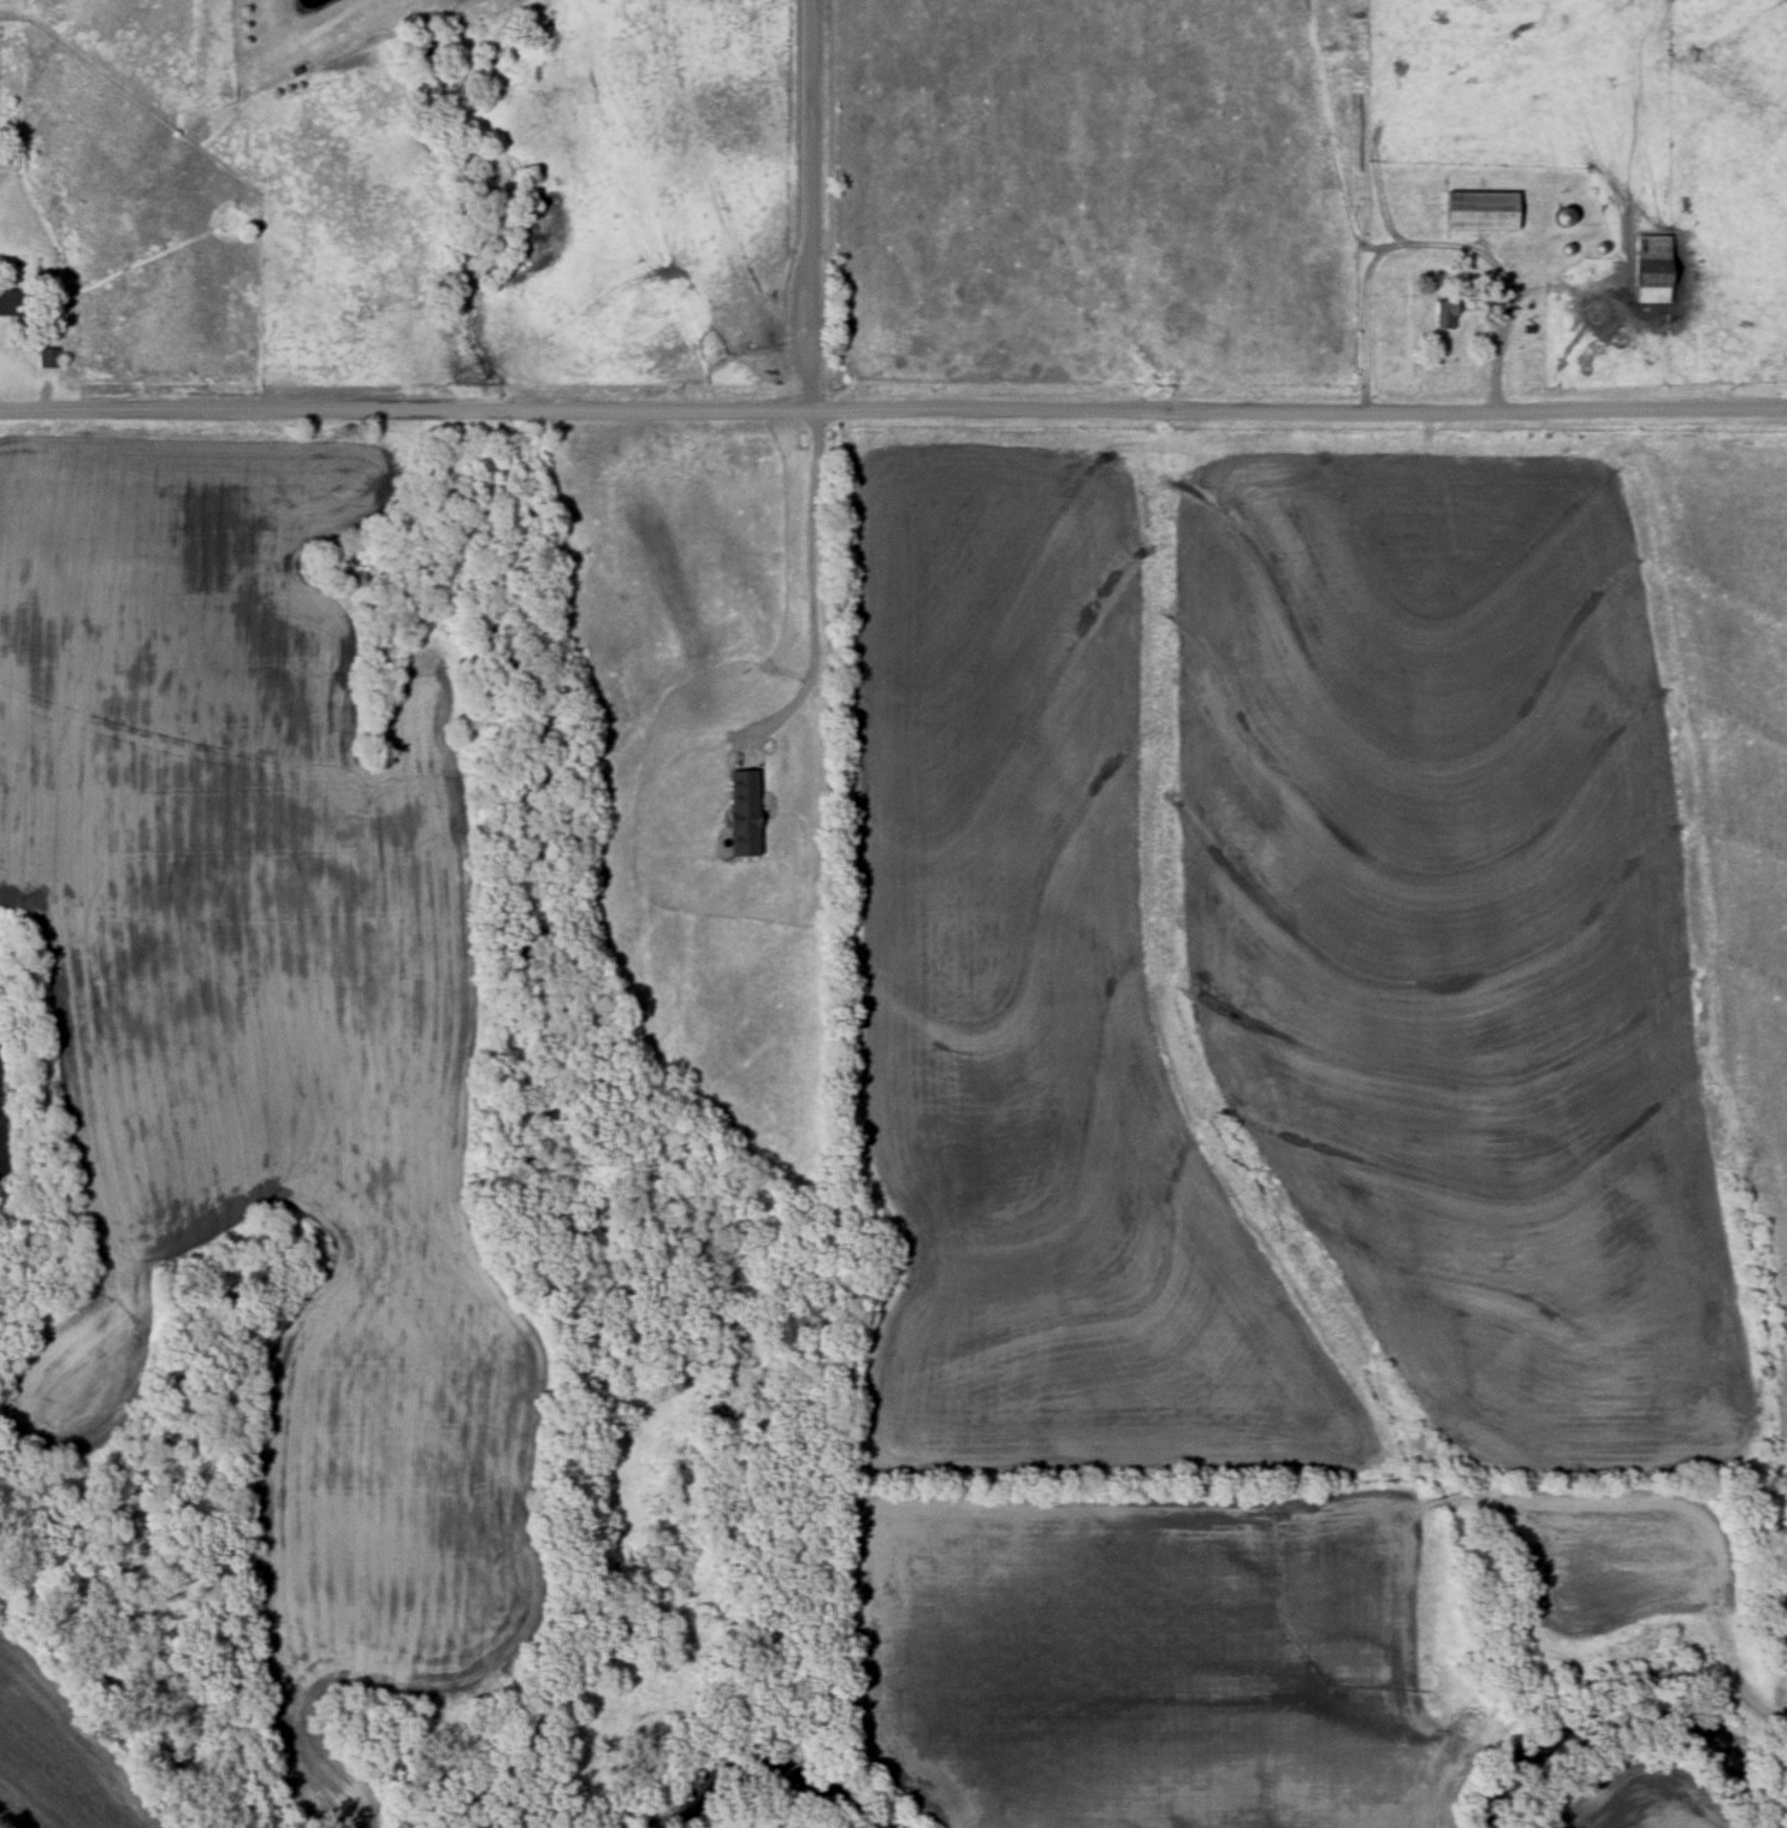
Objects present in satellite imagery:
building: (10, 161)
road: (806, 205)
building: (1477, 212)
road: (1432, 244)
building: (1649, 270)
building: (16, 302)
building: (1444, 315)
building: (51, 357)
road: (893, 409)
road: (813, 597)
building: (746, 812)
river: (1631, 1710)
river: (751, 1782)

